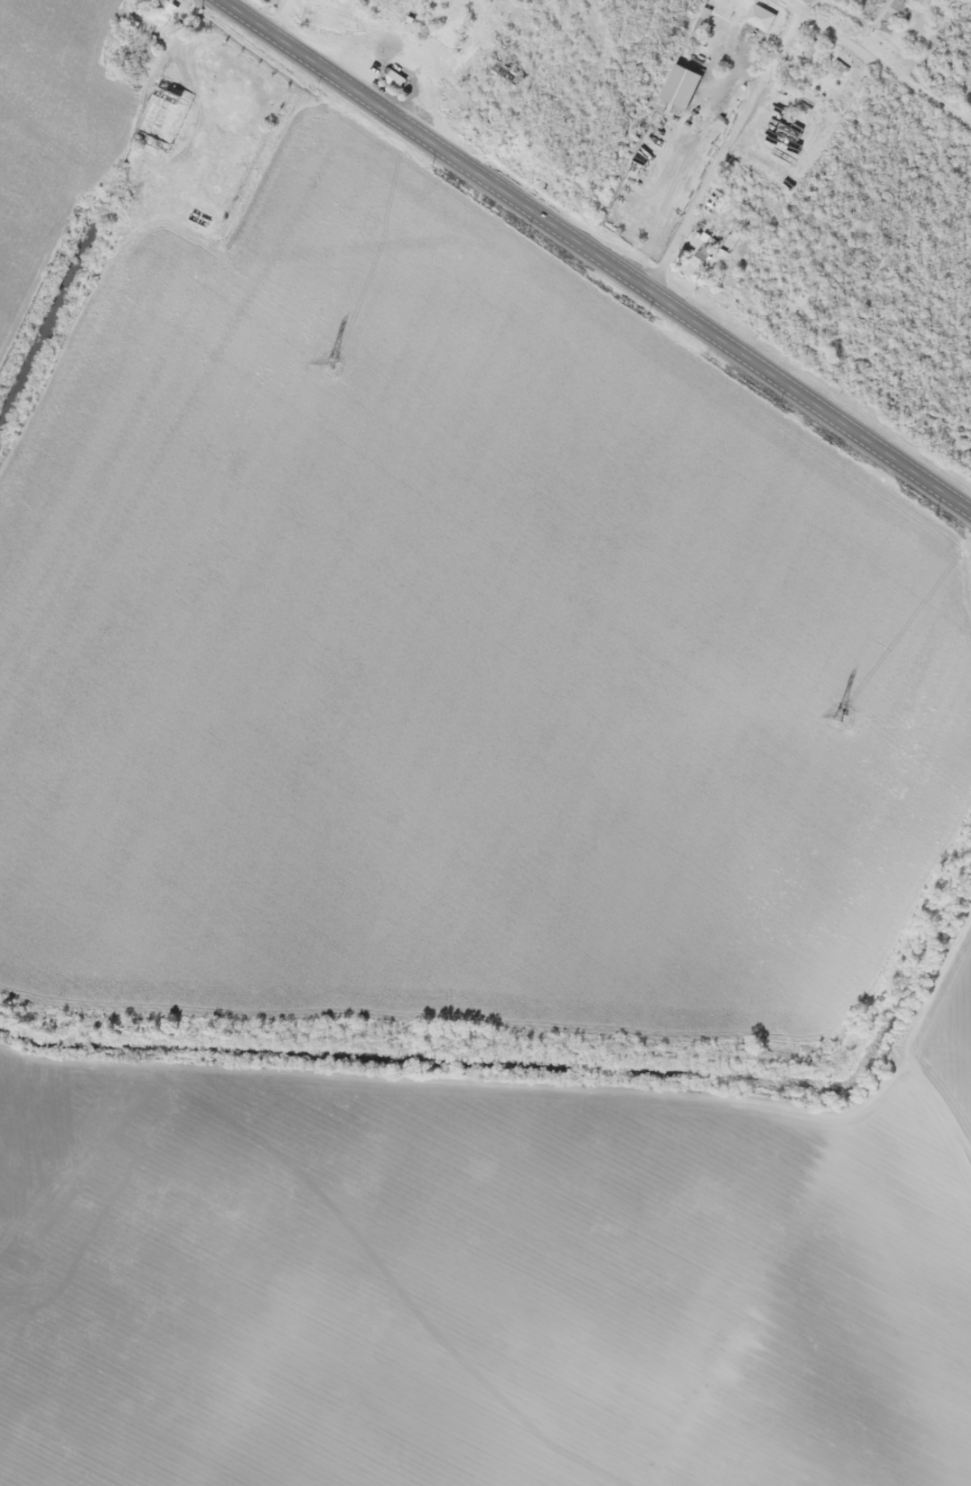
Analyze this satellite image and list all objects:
road: (880, 62)
road: (600, 253)
power tower: (334, 366)
power tower: (840, 718)

